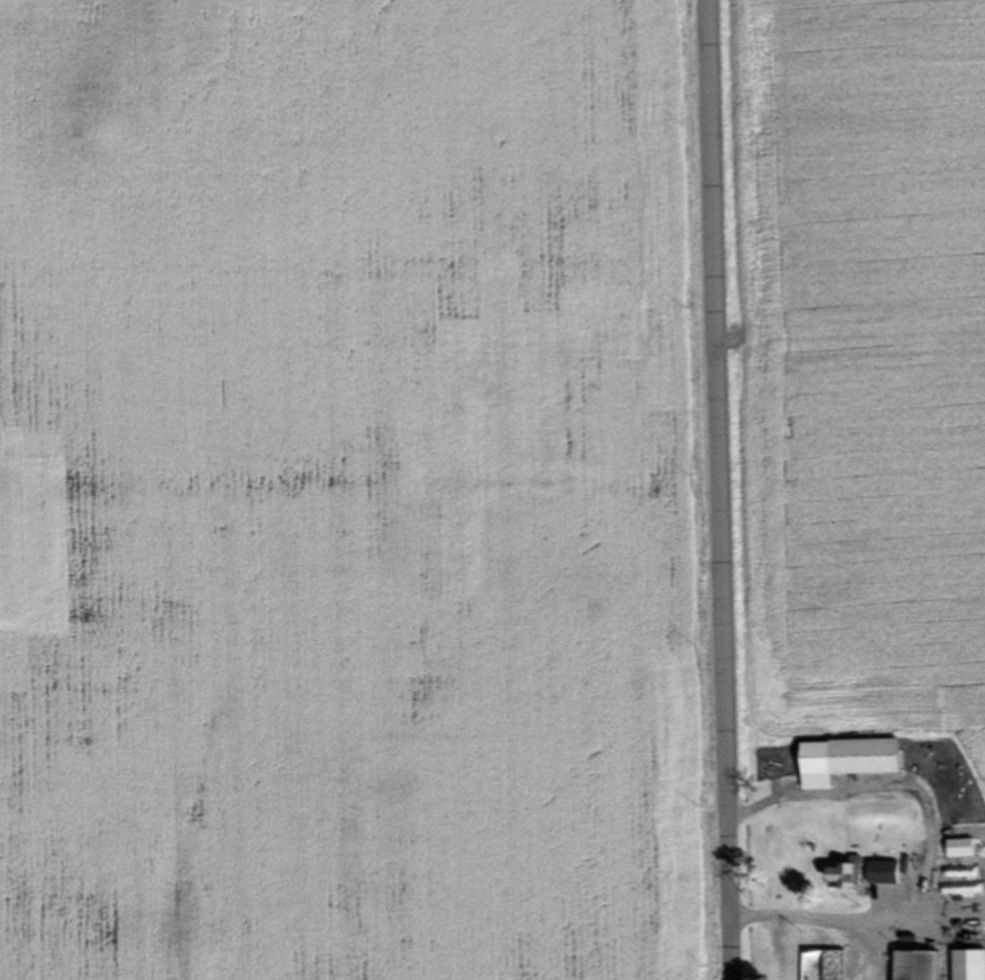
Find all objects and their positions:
road: (721, 490)
building: (853, 760)
road: (763, 803)
building: (878, 875)
building: (848, 877)
road: (854, 922)
road: (775, 932)
building: (883, 965)
building: (843, 966)
building: (970, 966)
building: (918, 967)

